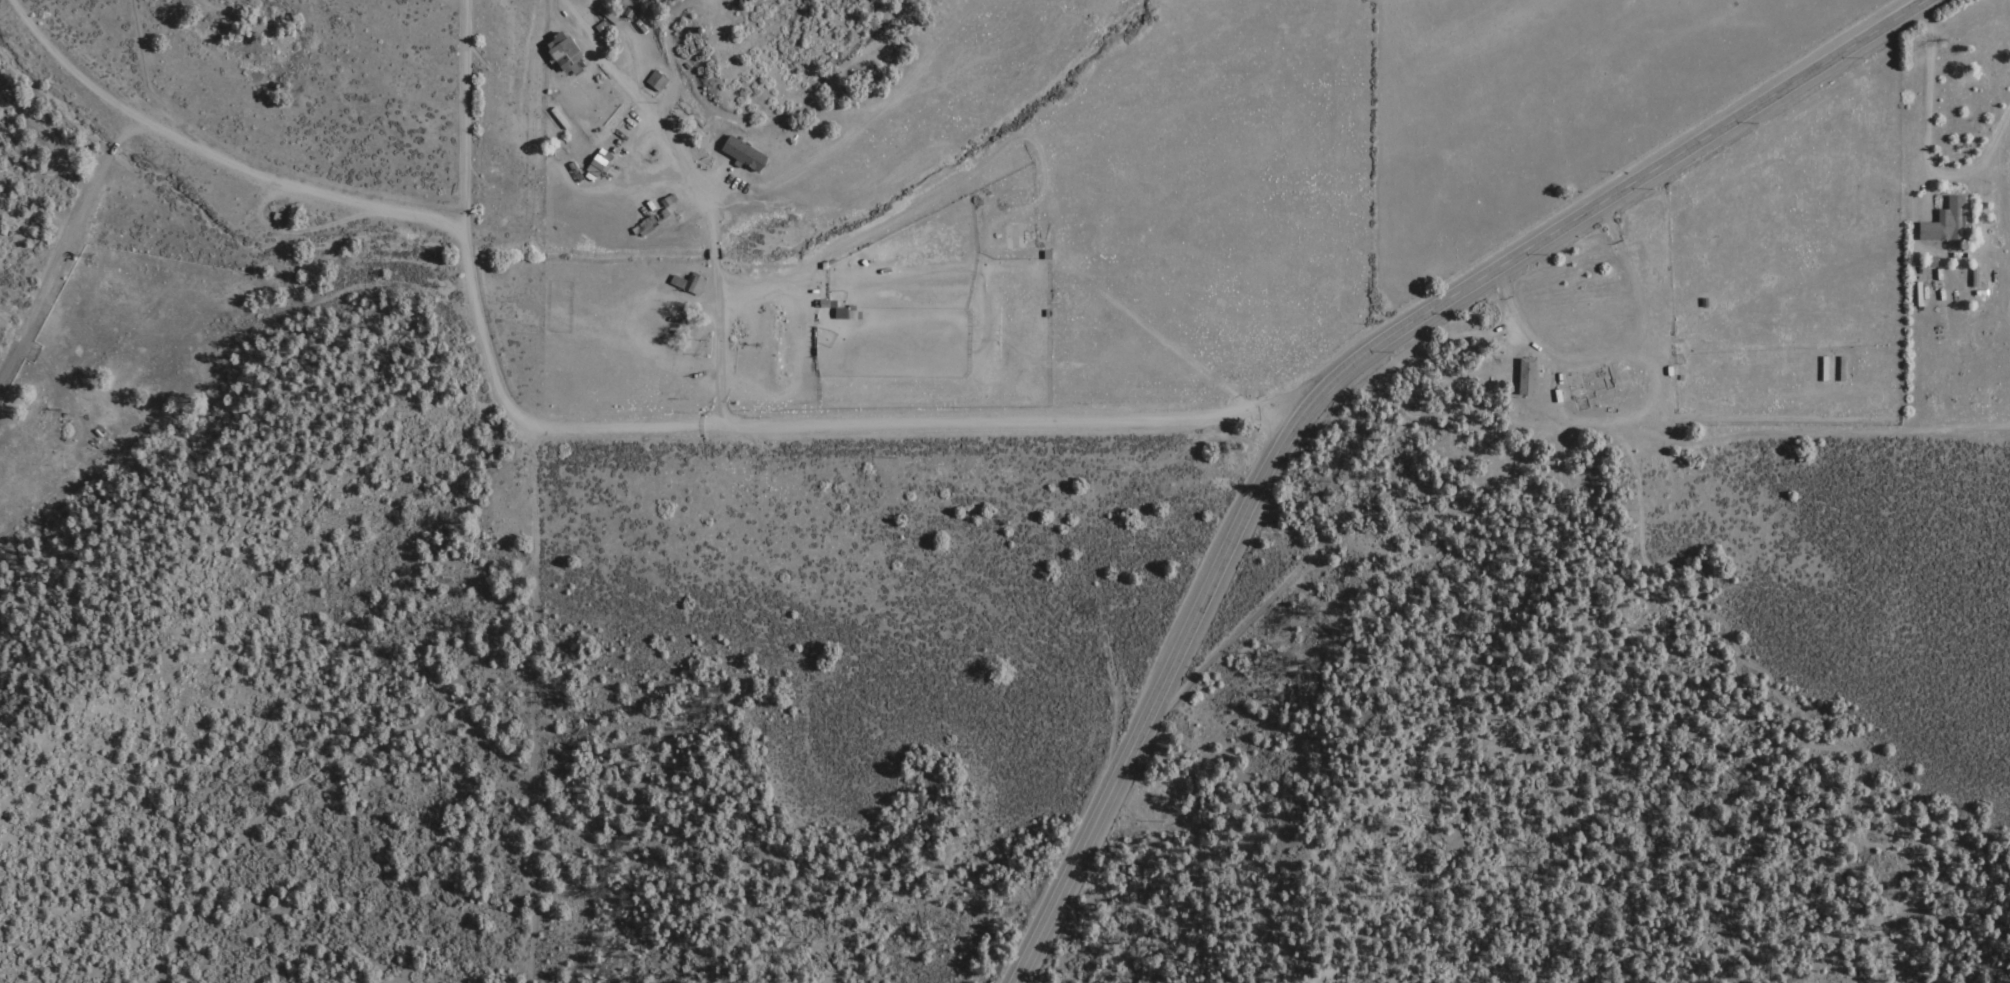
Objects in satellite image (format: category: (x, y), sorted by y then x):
building: (562, 49)
road: (467, 116)
road: (662, 135)
road: (1921, 147)
building: (743, 150)
building: (596, 161)
building: (571, 170)
road: (1610, 197)
building: (275, 214)
building: (287, 216)
building: (1948, 221)
road: (61, 252)
road: (713, 252)
building: (1045, 253)
building: (687, 281)
building: (839, 311)
road: (1159, 336)
road: (714, 344)
road: (487, 353)
road: (1610, 355)
building: (1526, 374)
road: (1200, 418)
road: (1157, 694)

